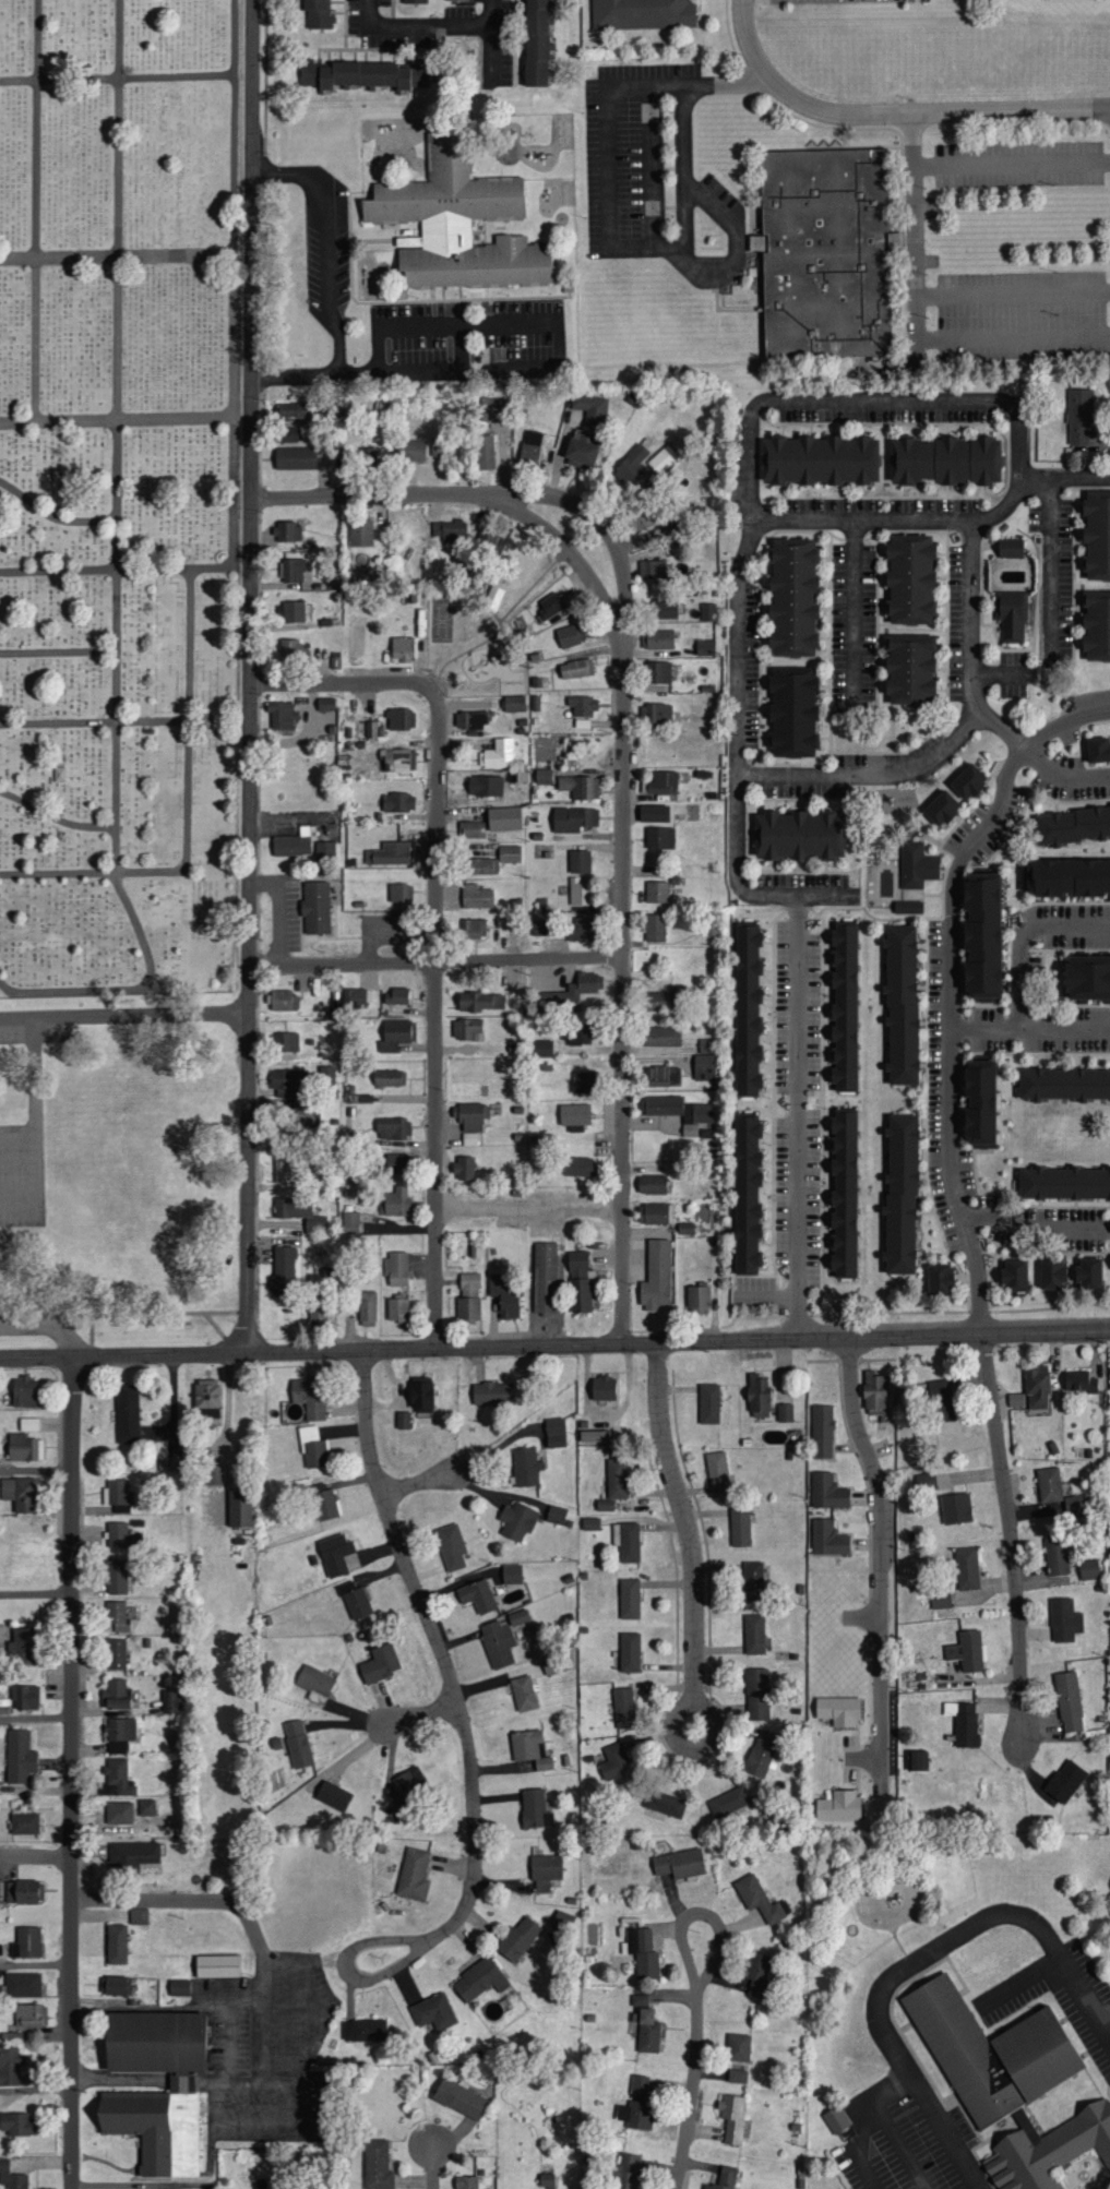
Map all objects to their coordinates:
building: (411, 0)
building: (452, 0)
parking lot: (819, 0)
building: (319, 13)
road: (370, 13)
building: (643, 13)
road: (430, 26)
road: (490, 41)
building: (536, 41)
building: (367, 73)
road: (118, 79)
road: (892, 113)
road: (1011, 162)
road: (653, 165)
road: (608, 166)
road: (687, 206)
road: (36, 211)
building: (457, 223)
road: (914, 225)
road: (330, 239)
building: (826, 250)
road: (117, 258)
road: (235, 282)
road: (1013, 290)
road: (1013, 336)
road: (559, 340)
road: (296, 374)
building: (494, 409)
building: (592, 409)
building: (295, 410)
building: (1079, 415)
road: (117, 421)
building: (287, 434)
road: (117, 436)
building: (530, 445)
building: (414, 450)
building: (485, 452)
building: (581, 454)
building: (295, 458)
building: (820, 458)
building: (944, 458)
building: (660, 462)
building: (631, 465)
park: (119, 494)
building: (643, 515)
road: (52, 516)
road: (934, 519)
road: (601, 523)
road: (745, 525)
building: (289, 531)
building: (451, 531)
building: (360, 533)
building: (1097, 534)
building: (709, 539)
building: (488, 543)
building: (1011, 547)
road: (1052, 552)
building: (652, 570)
road: (114, 571)
building: (293, 571)
building: (910, 576)
building: (792, 595)
building: (492, 598)
building: (548, 607)
building: (664, 608)
road: (854, 609)
building: (293, 611)
building: (708, 611)
building: (1012, 614)
building: (1097, 624)
building: (566, 636)
building: (659, 639)
road: (971, 646)
building: (705, 647)
building: (402, 648)
building: (290, 650)
road: (58, 653)
building: (575, 669)
building: (910, 669)
building: (658, 672)
road: (249, 677)
building: (514, 703)
building: (325, 704)
building: (583, 706)
building: (793, 710)
building: (657, 715)
building: (281, 716)
road: (190, 720)
building: (401, 720)
building: (473, 720)
road: (102, 722)
building: (1098, 752)
building: (498, 754)
building: (393, 761)
road: (621, 770)
road: (870, 774)
road: (1064, 774)
building: (663, 784)
building: (485, 786)
building: (580, 787)
building: (956, 794)
building: (397, 802)
road: (56, 817)
building: (503, 820)
building: (573, 820)
building: (1072, 823)
building: (472, 829)
building: (798, 835)
building: (660, 838)
building: (293, 844)
building: (325, 849)
building: (390, 853)
building: (510, 854)
building: (578, 862)
building: (916, 863)
building: (481, 866)
road: (94, 873)
building: (1069, 881)
building: (401, 893)
building: (578, 893)
building: (656, 893)
building: (476, 897)
building: (908, 906)
building: (315, 908)
road: (434, 928)
building: (539, 928)
building: (474, 929)
building: (654, 929)
building: (582, 930)
road: (1023, 934)
building: (983, 938)
road: (433, 961)
building: (1087, 982)
road: (950, 986)
road: (130, 989)
building: (568, 995)
building: (396, 996)
building: (668, 998)
building: (355, 1000)
building: (284, 1001)
building: (480, 1002)
building: (845, 1004)
building: (902, 1004)
building: (745, 1008)
road: (142, 1014)
road: (17, 1017)
road: (986, 1026)
road: (1065, 1027)
building: (467, 1030)
building: (578, 1034)
building: (661, 1037)
building: (287, 1042)
building: (706, 1046)
building: (542, 1049)
building: (704, 1067)
building: (663, 1076)
building: (389, 1078)
building: (289, 1082)
building: (584, 1082)
building: (1064, 1082)
building: (980, 1105)
road: (35, 1108)
building: (680, 1112)
building: (575, 1115)
road: (797, 1115)
building: (305, 1120)
building: (472, 1122)
building: (393, 1129)
road: (17, 1147)
building: (398, 1163)
building: (577, 1167)
building: (464, 1169)
building: (281, 1171)
building: (1063, 1182)
building: (654, 1185)
building: (844, 1191)
building: (902, 1192)
building: (745, 1194)
road: (17, 1199)
building: (395, 1203)
road: (528, 1207)
building: (656, 1213)
building: (300, 1215)
building: (351, 1222)
road: (1029, 1230)
building: (578, 1266)
building: (396, 1269)
building: (284, 1272)
building: (1052, 1275)
building: (1089, 1275)
building: (656, 1277)
building: (544, 1278)
building: (1015, 1278)
building: (941, 1280)
building: (469, 1284)
building: (581, 1296)
building: (697, 1297)
building: (504, 1299)
building: (468, 1309)
building: (397, 1311)
road: (124, 1313)
building: (318, 1314)
road: (47, 1326)
road: (679, 1342)
road: (123, 1355)
building: (1079, 1383)
building: (602, 1389)
building: (1037, 1389)
building: (24, 1392)
building: (874, 1393)
building: (492, 1395)
building: (759, 1396)
building: (309, 1397)
building: (420, 1398)
building: (206, 1399)
building: (708, 1404)
building: (786, 1413)
building: (128, 1414)
building: (403, 1421)
building: (27, 1424)
building: (822, 1432)
building: (554, 1433)
building: (594, 1437)
building: (24, 1448)
building: (313, 1449)
building: (526, 1468)
road: (36, 1469)
building: (717, 1473)
building: (215, 1475)
building: (617, 1480)
road: (417, 1483)
building: (1049, 1485)
building: (827, 1492)
road: (881, 1493)
building: (21, 1495)
building: (118, 1496)
building: (325, 1506)
building: (605, 1506)
building: (956, 1509)
building: (557, 1516)
building: (517, 1521)
building: (590, 1524)
building: (740, 1529)
building: (118, 1535)
road: (1010, 1535)
building: (827, 1540)
building: (629, 1542)
building: (451, 1546)
building: (335, 1553)
building: (1057, 1556)
building: (967, 1568)
building: (1088, 1569)
building: (512, 1574)
building: (117, 1577)
building: (753, 1580)
road: (693, 1590)
road: (36, 1593)
building: (477, 1595)
building: (629, 1599)
building: (355, 1600)
building: (941, 1600)
building: (518, 1616)
building: (118, 1617)
road: (861, 1618)
building: (1064, 1620)
building: (754, 1634)
building: (498, 1642)
building: (22, 1644)
building: (967, 1650)
building: (630, 1651)
building: (116, 1654)
building: (380, 1663)
building: (314, 1683)
building: (116, 1694)
building: (523, 1694)
building: (756, 1694)
building: (25, 1697)
building: (1069, 1701)
building: (171, 1702)
building: (623, 1707)
building: (837, 1711)
road: (420, 1713)
road: (36, 1716)
road: (881, 1719)
building: (964, 1722)
building: (119, 1734)
building: (297, 1743)
road: (467, 1745)
building: (530, 1749)
building: (761, 1754)
building: (19, 1756)
building: (918, 1760)
building: (614, 1763)
road: (71, 1772)
building: (118, 1778)
building: (1065, 1780)
building: (406, 1789)
building: (333, 1795)
building: (728, 1802)
building: (665, 1803)
building: (838, 1805)
building: (146, 1807)
building: (535, 1808)
building: (118, 1813)
building: (24, 1822)
building: (134, 1854)
road: (35, 1856)
building: (679, 1863)
building: (545, 1871)
building: (414, 1874)
building: (21, 1891)
building: (0, 1893)
building: (757, 1899)
road: (240, 1906)
road: (700, 1914)
building: (139, 1916)
building: (518, 1938)
building: (27, 1942)
building: (117, 1943)
building: (643, 1952)
road: (914, 1959)
road: (36, 1963)
building: (216, 1965)
building: (756, 1973)
road: (1018, 1978)
building: (479, 1979)
building: (23, 1985)
building: (116, 1985)
building: (179, 1987)
building: (433, 2012)
building: (29, 2015)
building: (645, 2024)
building: (363, 2030)
building: (738, 2047)
building: (10, 2065)
building: (737, 2076)
building: (1006, 2079)
road: (36, 2088)
building: (640, 2088)
road: (691, 2089)
building: (459, 2098)
building: (148, 2112)
building: (640, 2115)
building: (732, 2117)
building: (835, 2119)
road: (866, 2121)
building: (16, 2124)
road: (899, 2141)
building: (377, 2164)
road: (432, 2166)
building: (626, 2170)
building: (11, 2177)
building: (724, 2178)
building: (546, 2180)
building: (472, 2181)

